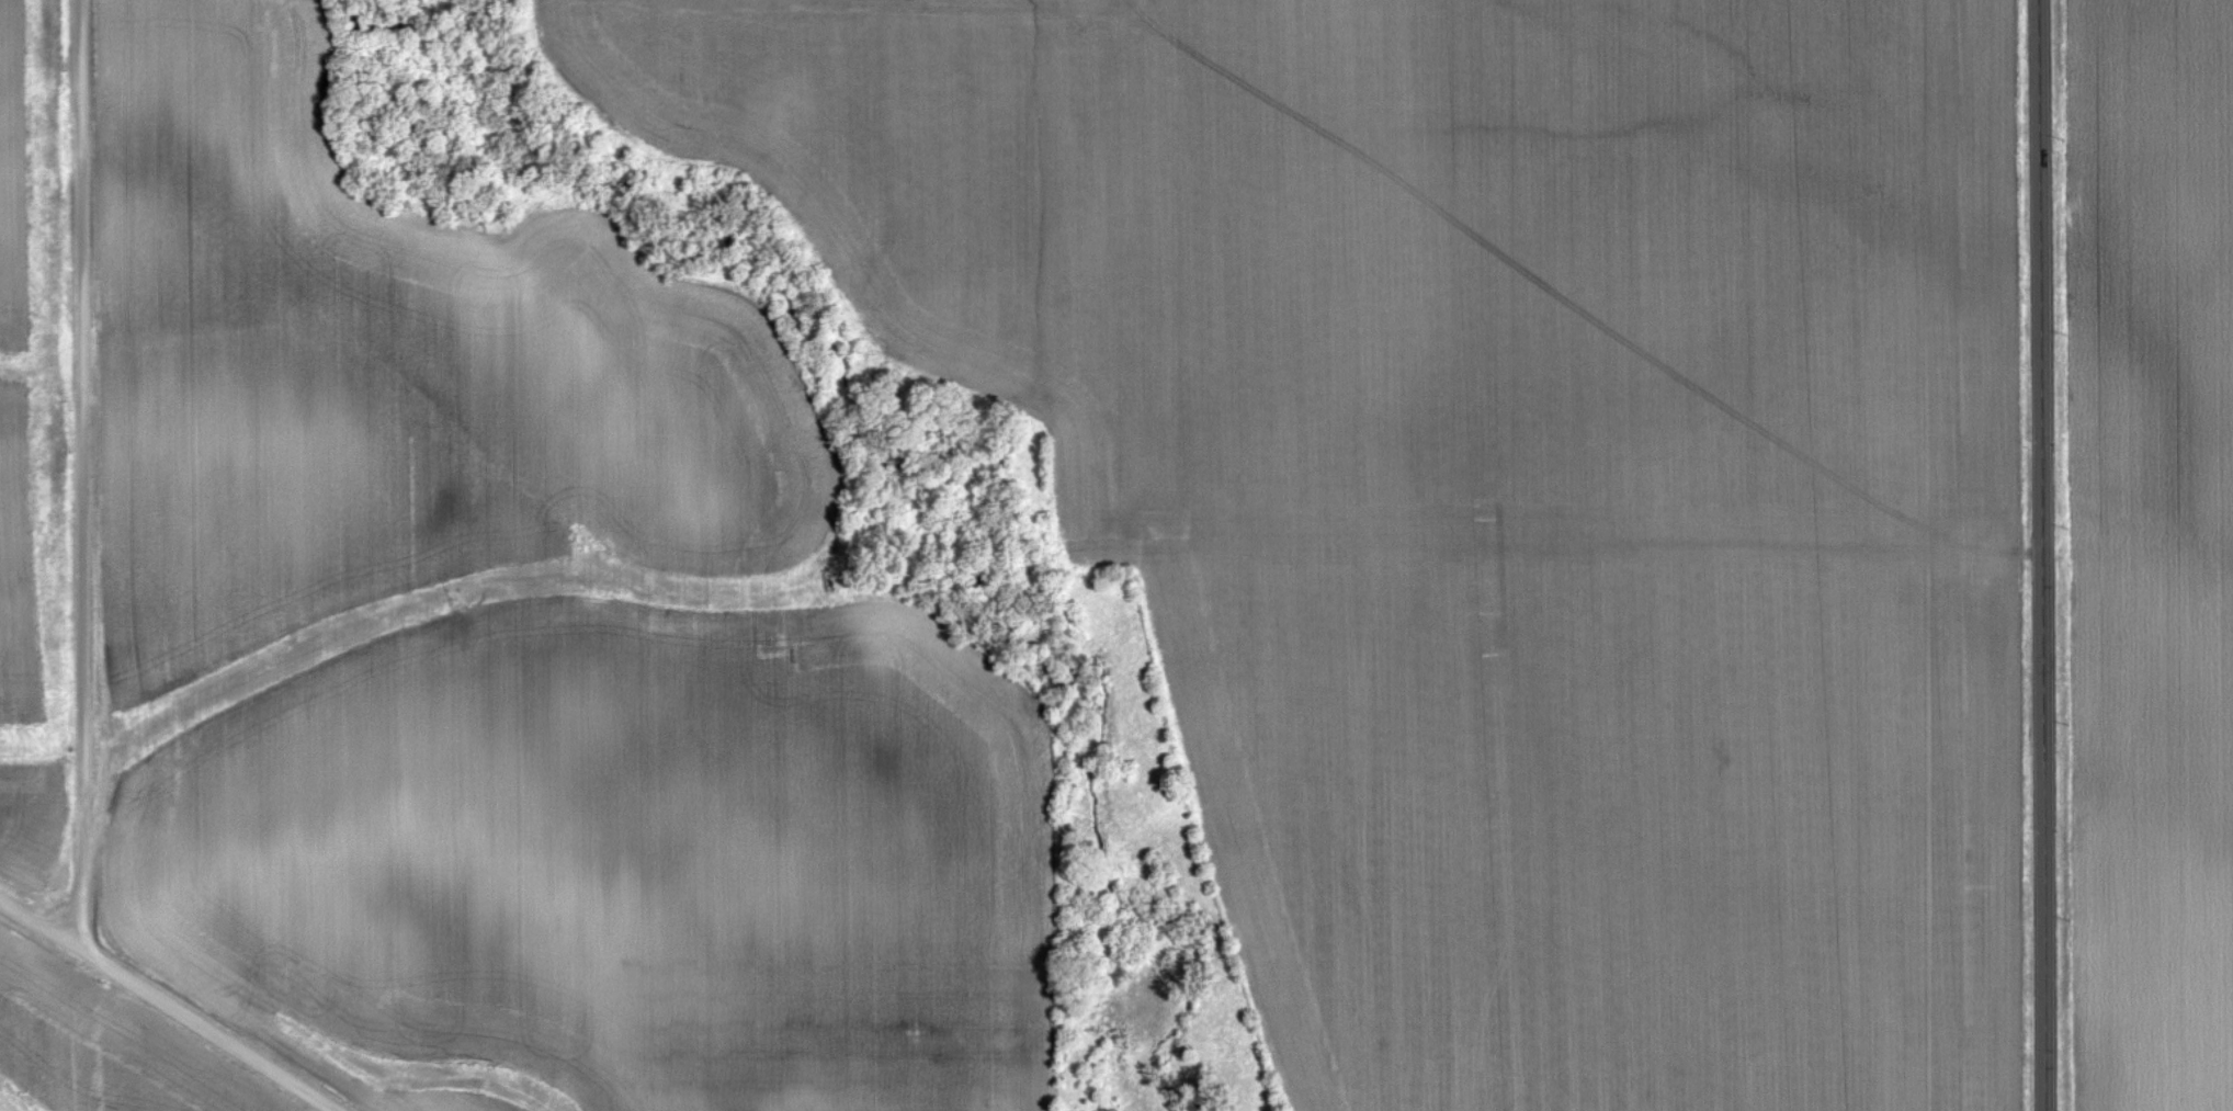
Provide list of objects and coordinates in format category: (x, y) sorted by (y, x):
road: (80, 474)
road: (2044, 555)
road: (166, 1006)

